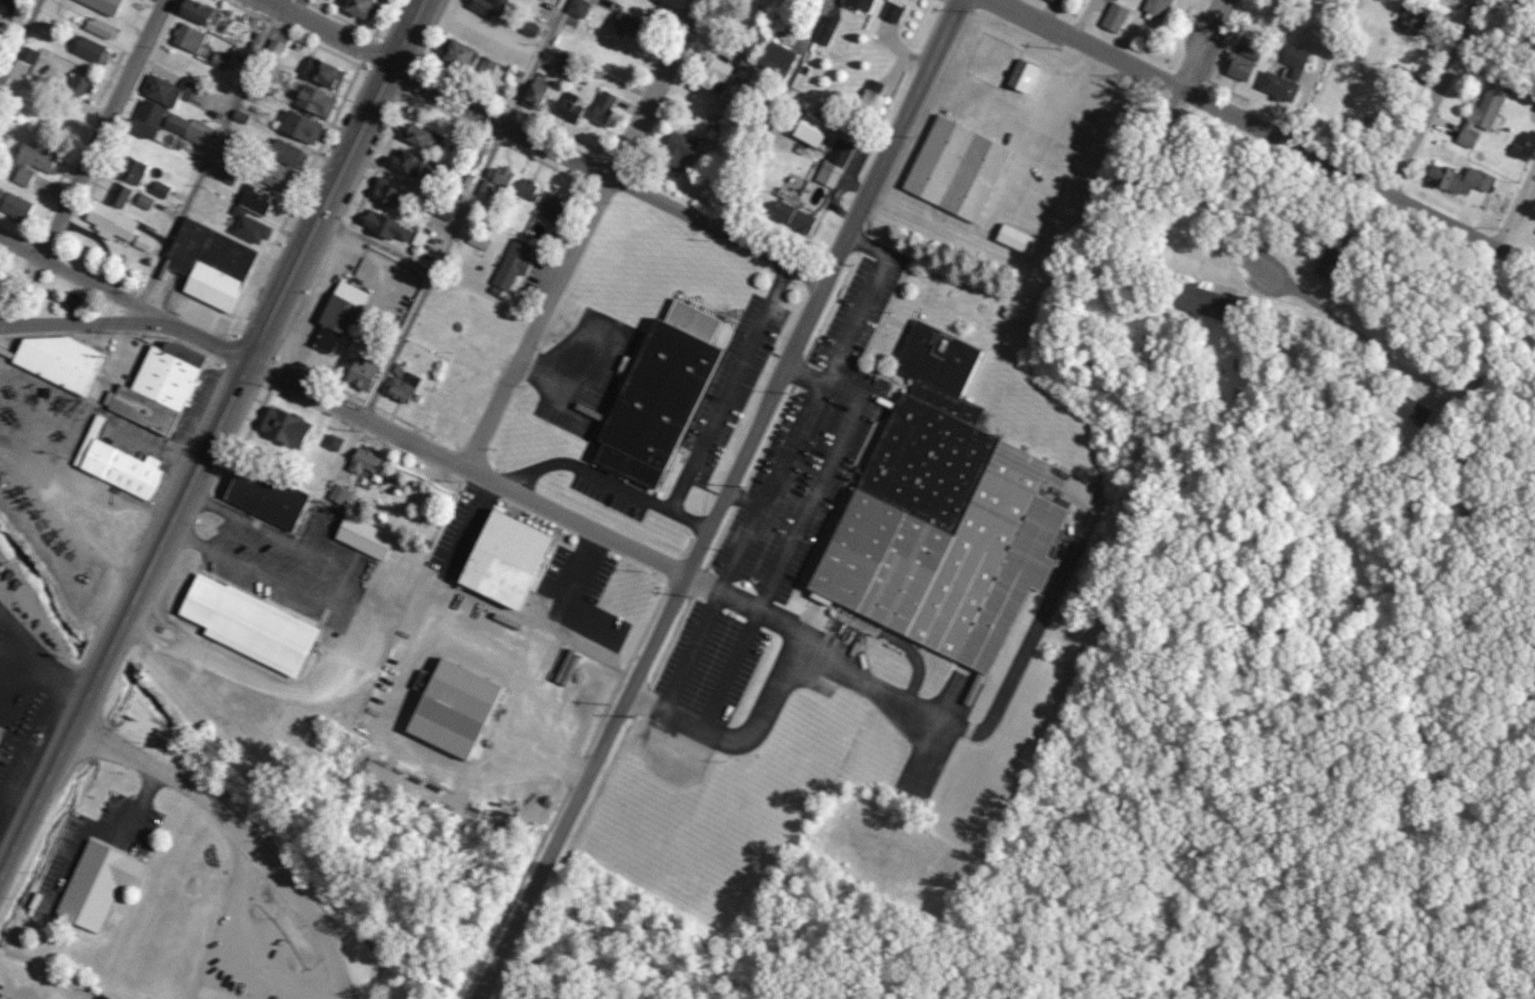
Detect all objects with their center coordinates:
building: (1056, 2)
building: (859, 4)
building: (102, 5)
building: (7, 6)
building: (1155, 7)
building: (359, 8)
building: (487, 8)
building: (578, 8)
road: (668, 8)
building: (193, 12)
building: (892, 12)
building: (1114, 17)
road: (1080, 19)
building: (1412, 19)
building: (625, 25)
building: (98, 28)
building: (529, 29)
building: (826, 30)
building: (45, 31)
road: (329, 31)
road: (16, 34)
building: (188, 39)
building: (275, 47)
road: (1203, 47)
building: (90, 50)
building: (455, 54)
building: (29, 55)
building: (777, 57)
building: (218, 60)
building: (1295, 60)
building: (1243, 62)
building: (562, 64)
building: (486, 66)
building: (745, 67)
building: (322, 73)
building: (714, 74)
building: (1021, 76)
building: (78, 84)
building: (1278, 87)
building: (166, 90)
building: (535, 94)
road: (1431, 94)
building: (872, 97)
building: (313, 101)
building: (569, 107)
building: (602, 108)
road: (772, 114)
building: (1484, 114)
building: (239, 117)
building: (146, 119)
building: (298, 127)
building: (181, 128)
building: (810, 129)
road: (1260, 130)
building: (420, 136)
road: (205, 151)
building: (676, 151)
building: (286, 154)
road: (85, 161)
building: (404, 163)
building: (834, 163)
building: (31, 164)
building: (955, 169)
building: (130, 170)
road: (606, 175)
building: (225, 176)
building: (274, 176)
building: (497, 176)
building: (1460, 179)
building: (466, 180)
building: (484, 189)
building: (527, 189)
building: (159, 190)
building: (383, 192)
building: (118, 196)
road: (1374, 198)
building: (253, 200)
road: (1516, 201)
building: (144, 202)
building: (13, 205)
road: (464, 208)
building: (551, 208)
building: (443, 210)
building: (793, 218)
building: (110, 221)
building: (385, 228)
building: (249, 230)
road: (581, 234)
road: (1226, 234)
building: (1015, 239)
building: (477, 241)
building: (142, 243)
road: (374, 243)
road: (1140, 247)
building: (1341, 253)
building: (1327, 260)
building: (209, 264)
building: (511, 265)
road: (123, 300)
building: (71, 302)
building: (1226, 302)
road: (863, 303)
building: (338, 315)
road: (80, 321)
building: (58, 362)
building: (360, 374)
building: (401, 385)
road: (1484, 387)
building: (157, 388)
road: (729, 388)
road: (1512, 392)
building: (658, 395)
building: (1384, 399)
building: (1413, 411)
road: (1263, 414)
road: (801, 427)
building: (283, 428)
road: (1365, 435)
road: (212, 436)
building: (332, 443)
building: (362, 463)
building: (115, 465)
road: (466, 467)
road: (606, 481)
building: (338, 495)
building: (263, 500)
road: (717, 500)
building: (940, 517)
building: (362, 538)
building: (502, 561)
park: (1277, 597)
road: (711, 609)
road: (1239, 609)
building: (247, 625)
road: (482, 638)
building: (566, 668)
road: (33, 670)
road: (1407, 677)
building: (450, 709)
road: (919, 710)
road: (1178, 714)
road: (536, 726)
road: (753, 728)
road: (1229, 731)
road: (1273, 743)
road: (1153, 774)
road: (1065, 780)
road: (1173, 780)
road: (1366, 817)
road: (1252, 824)
road: (103, 828)
road: (239, 830)
road: (1342, 838)
road: (1110, 858)
road: (1, 865)
road: (1269, 879)
building: (95, 884)
road: (1120, 888)
road: (1161, 889)
road: (1117, 913)
road: (1059, 936)
road: (250, 937)
road: (33, 980)
park: (1527, 982)
road: (330, 995)
park: (696, 995)

